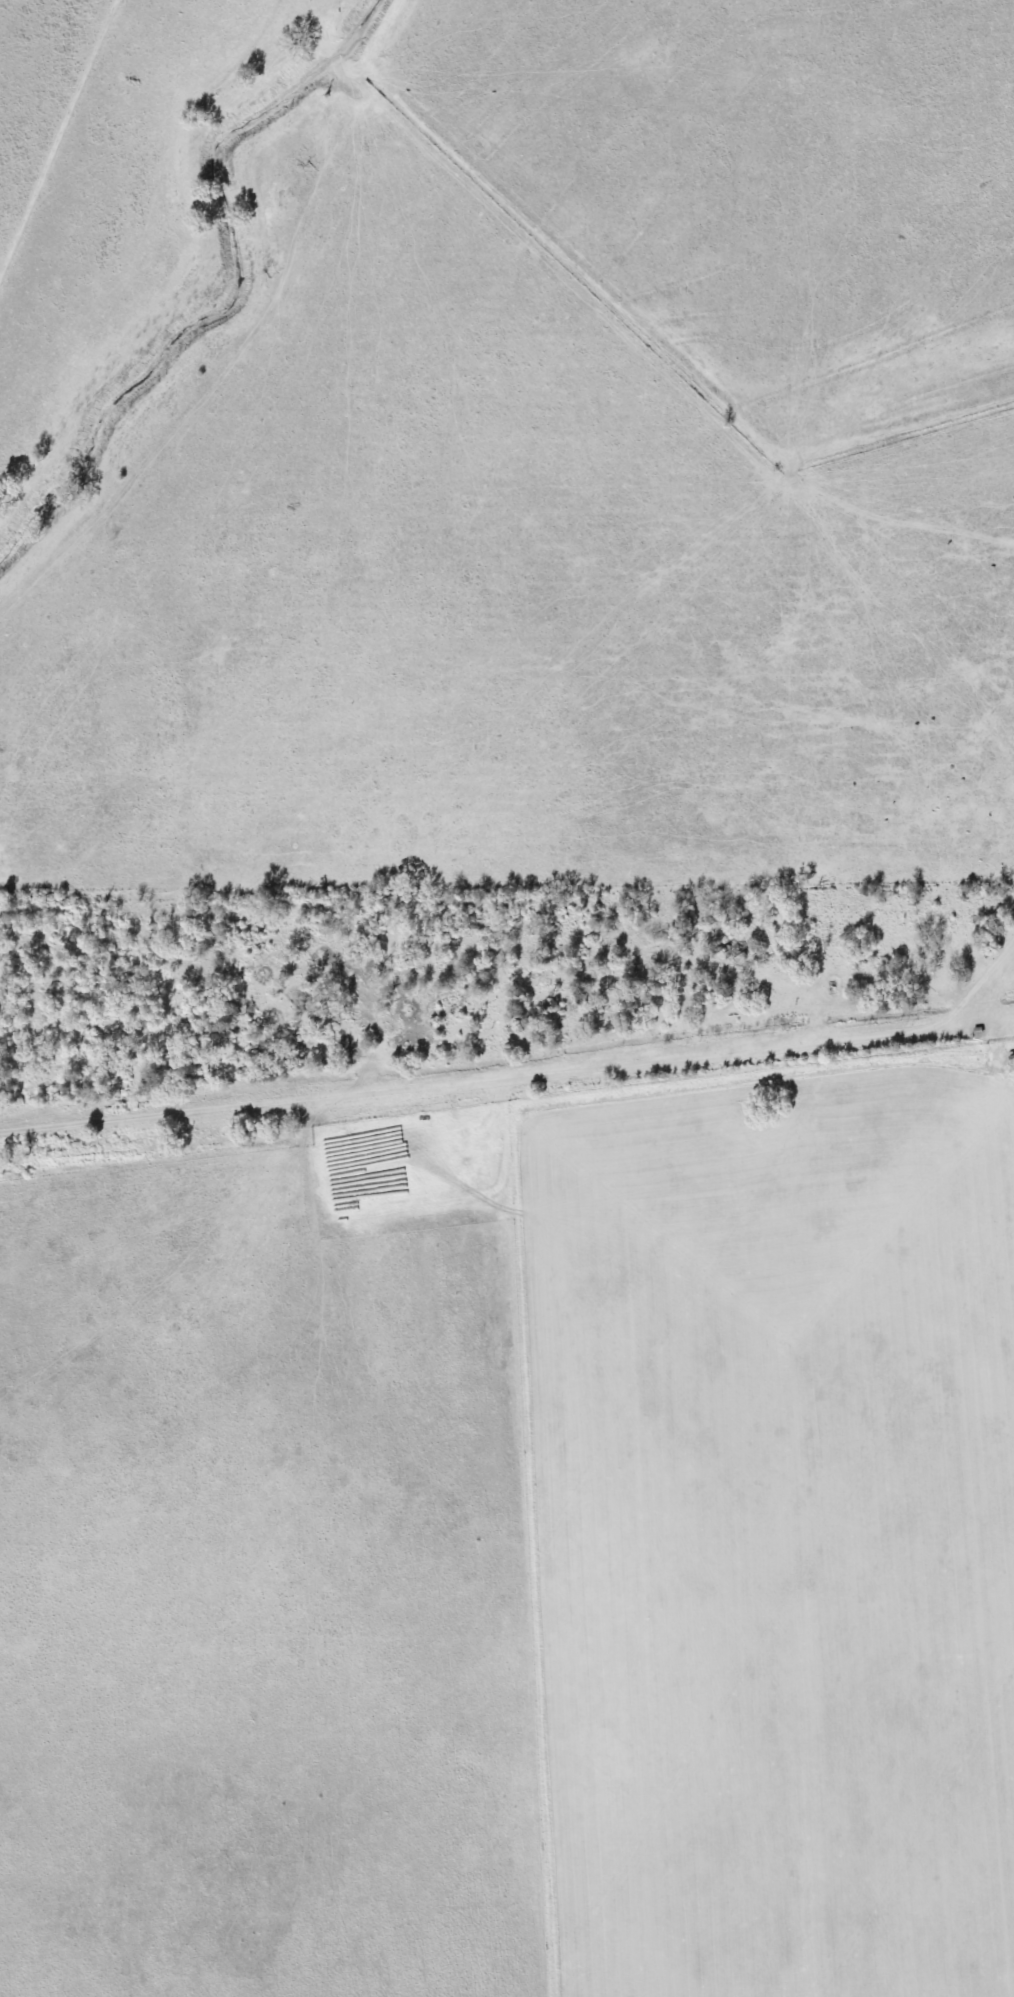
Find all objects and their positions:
road: (977, 978)
road: (506, 1079)

